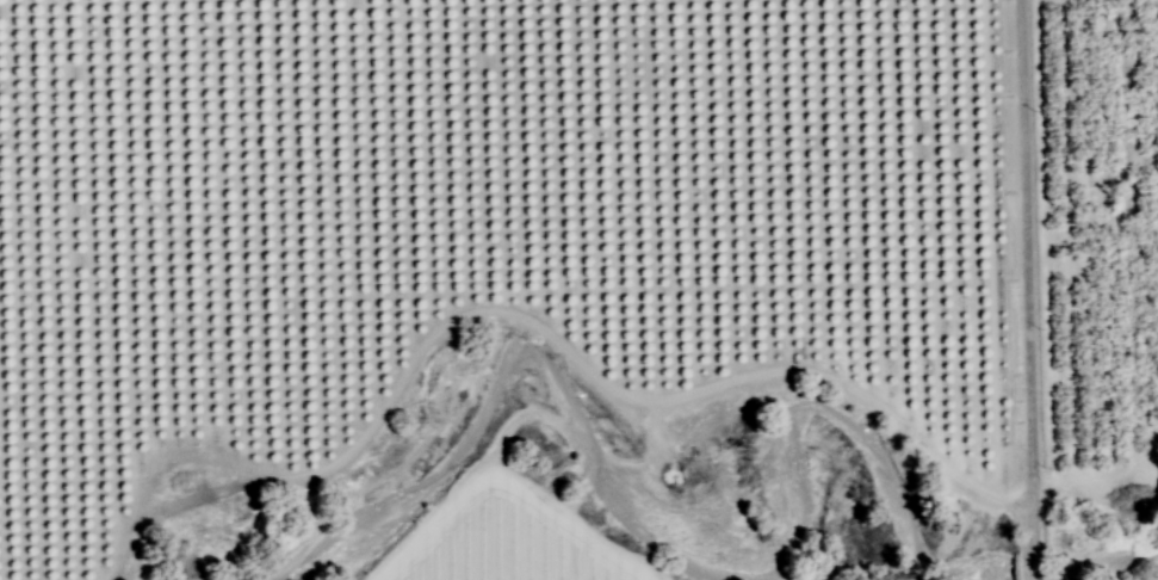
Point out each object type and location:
road: (1020, 290)
road: (521, 315)
road: (516, 418)
road: (1095, 475)

